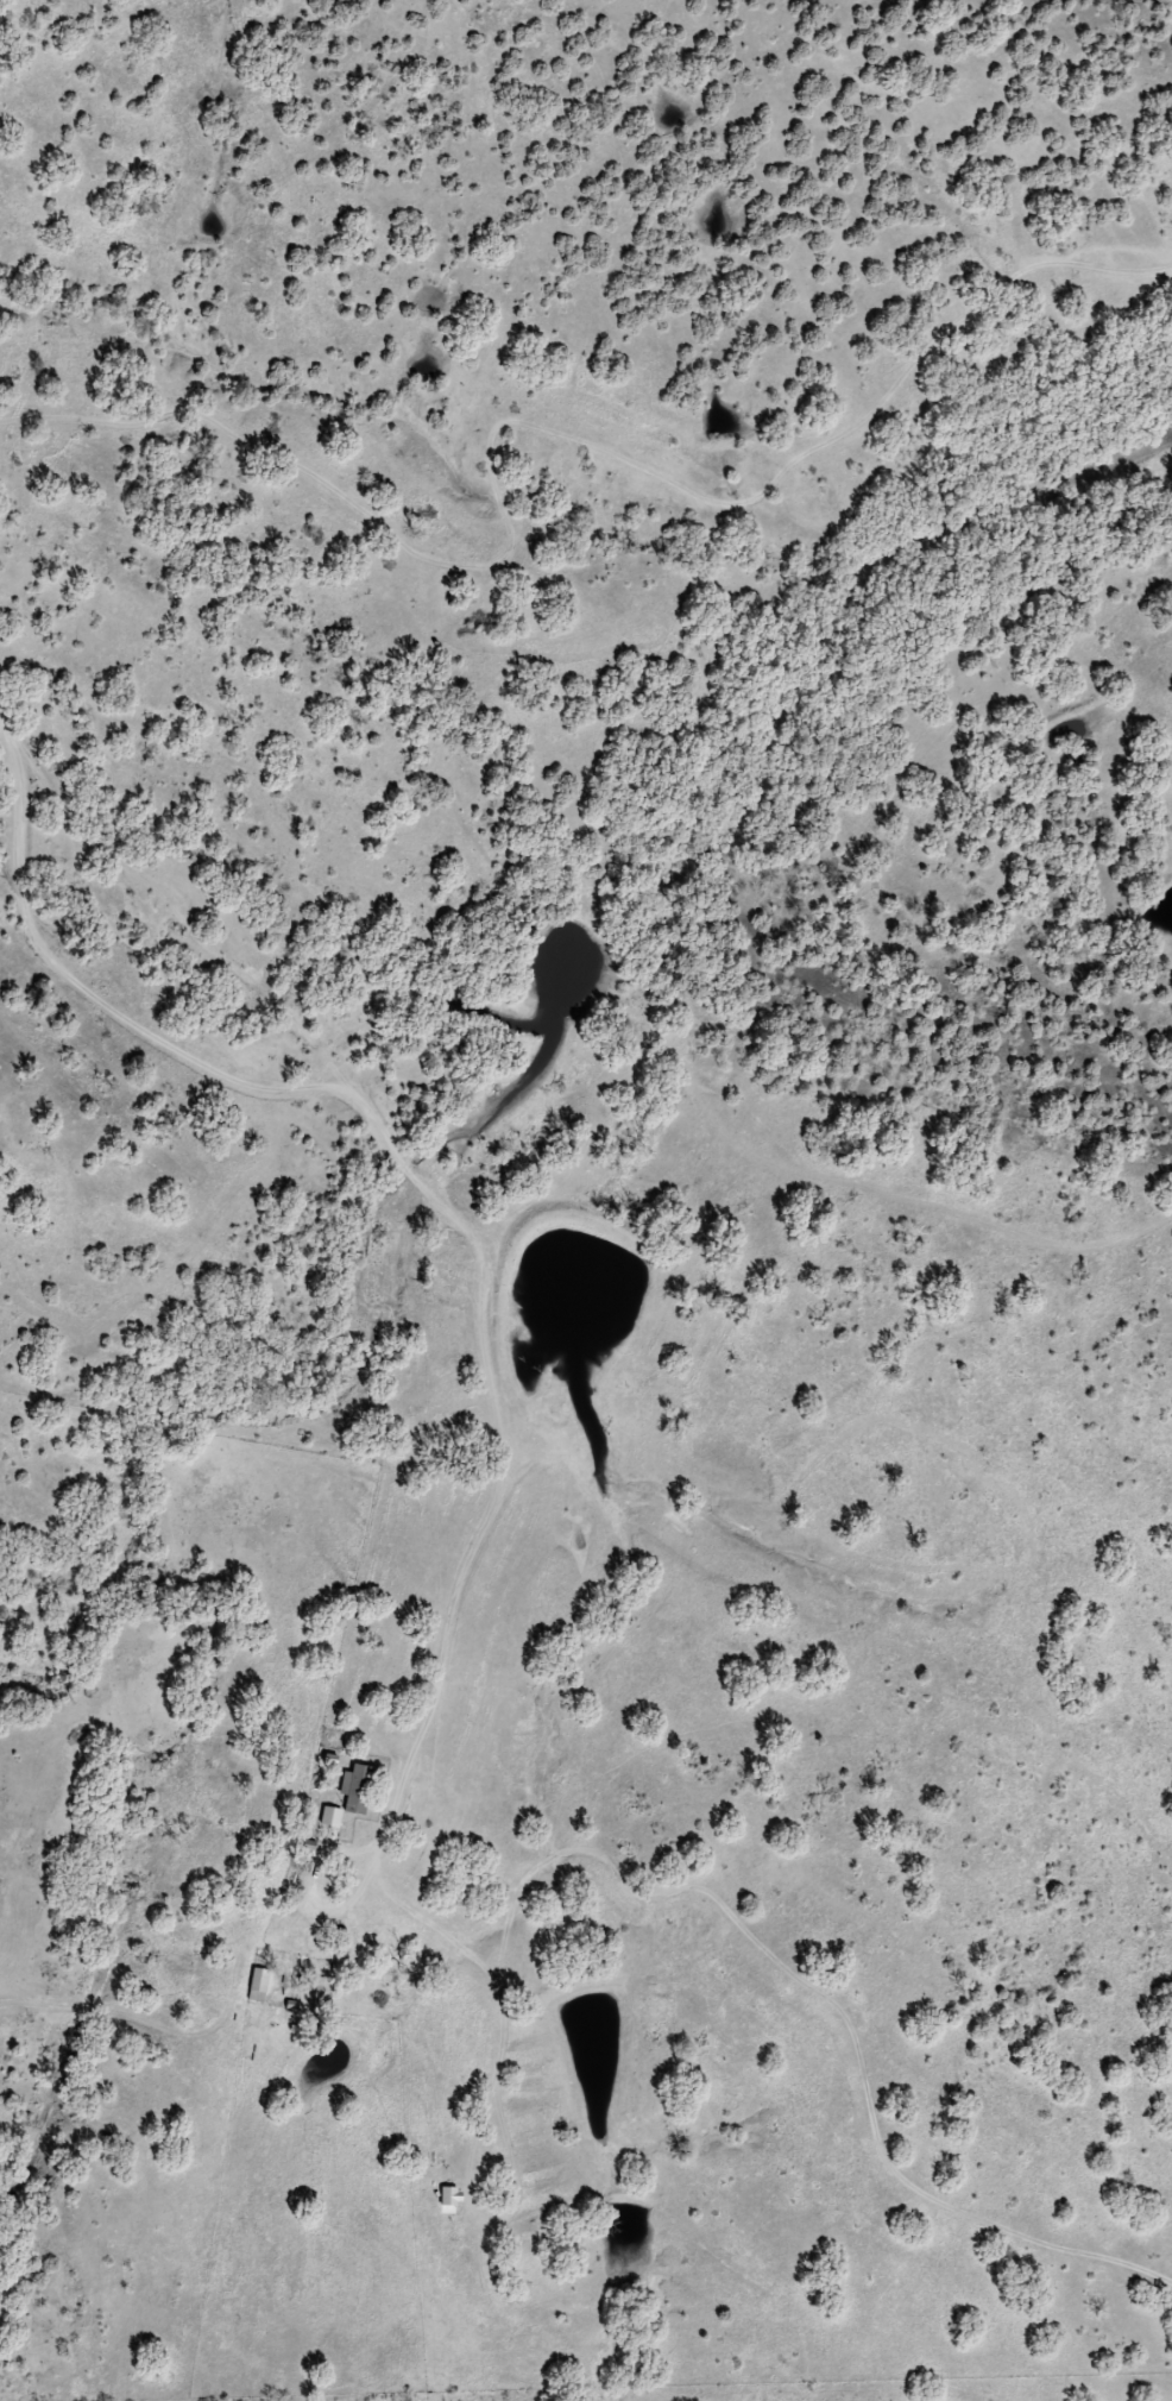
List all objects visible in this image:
road: (213, 1063)
building: (355, 1790)
building: (329, 1818)
building: (257, 1985)
building: (449, 2195)

